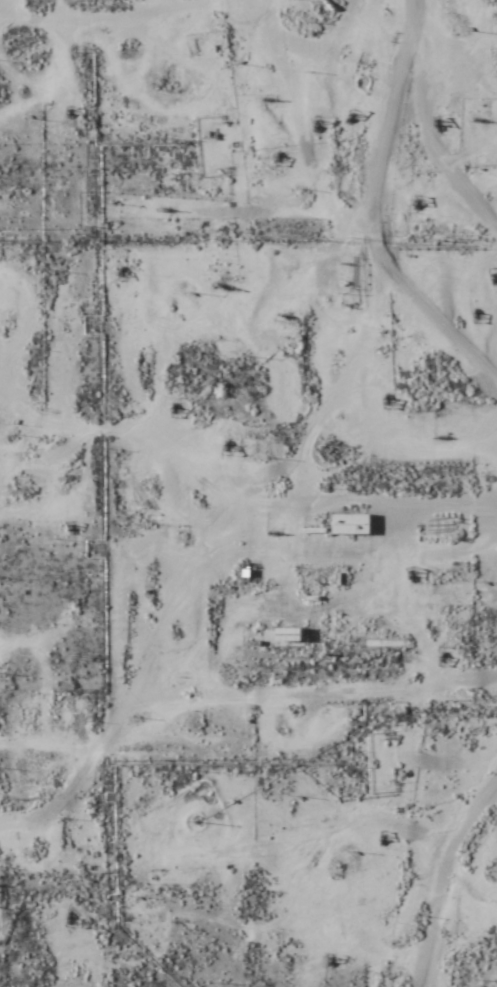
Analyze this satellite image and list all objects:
road: (154, 73)
road: (185, 124)
building: (351, 524)
building: (289, 635)

